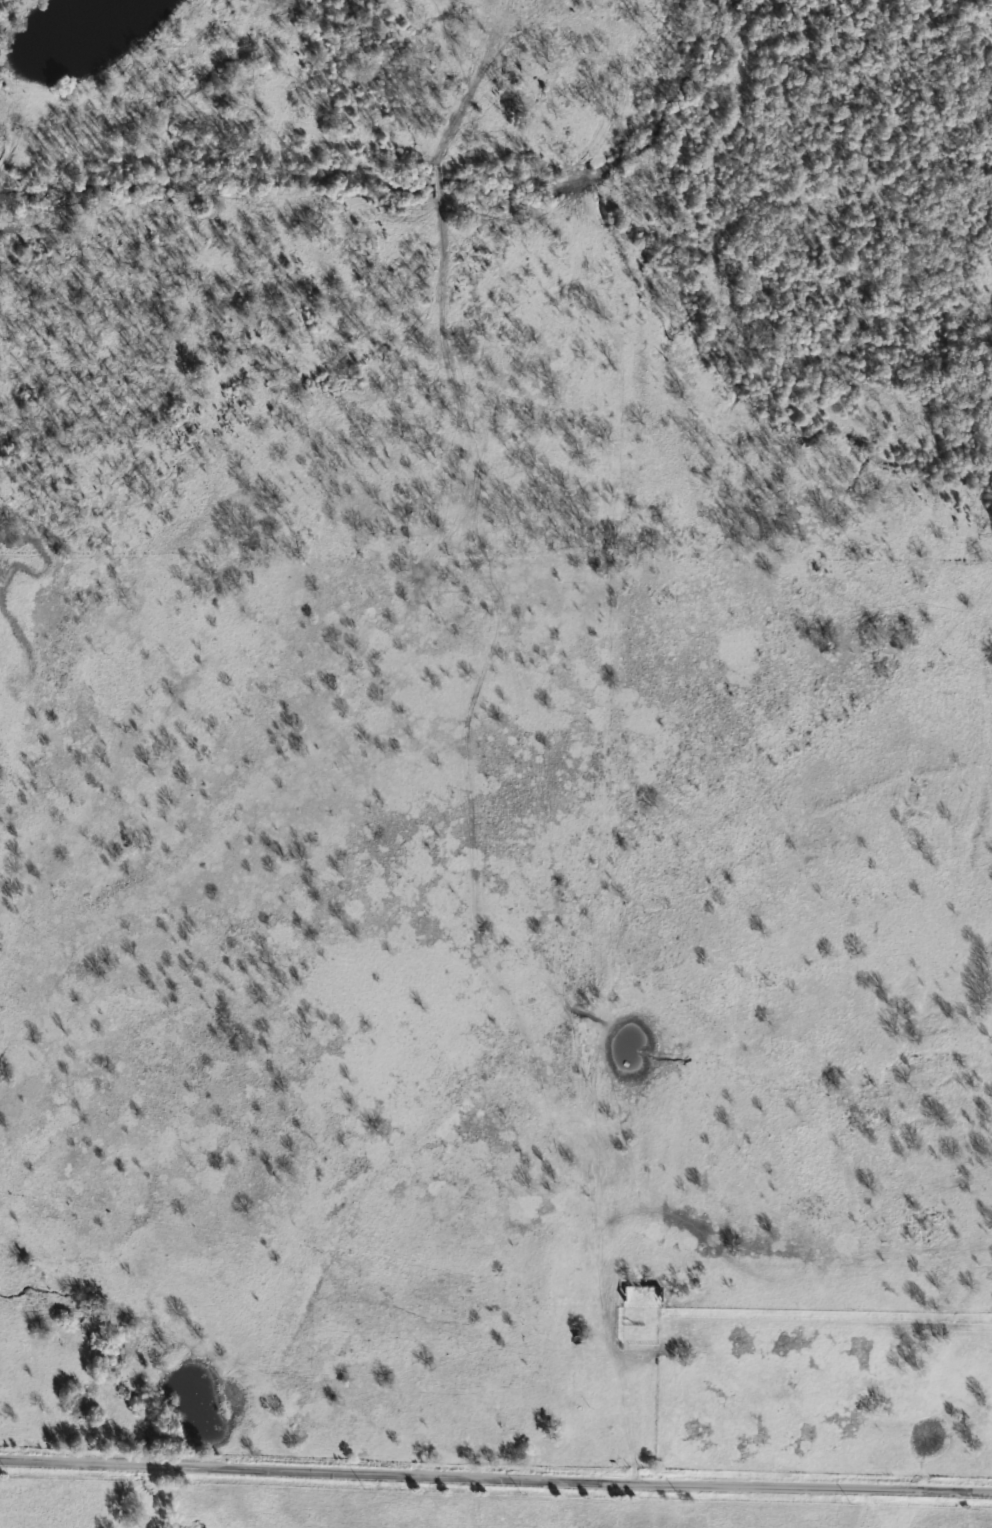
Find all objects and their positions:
building: (642, 1294)
road: (496, 1479)

